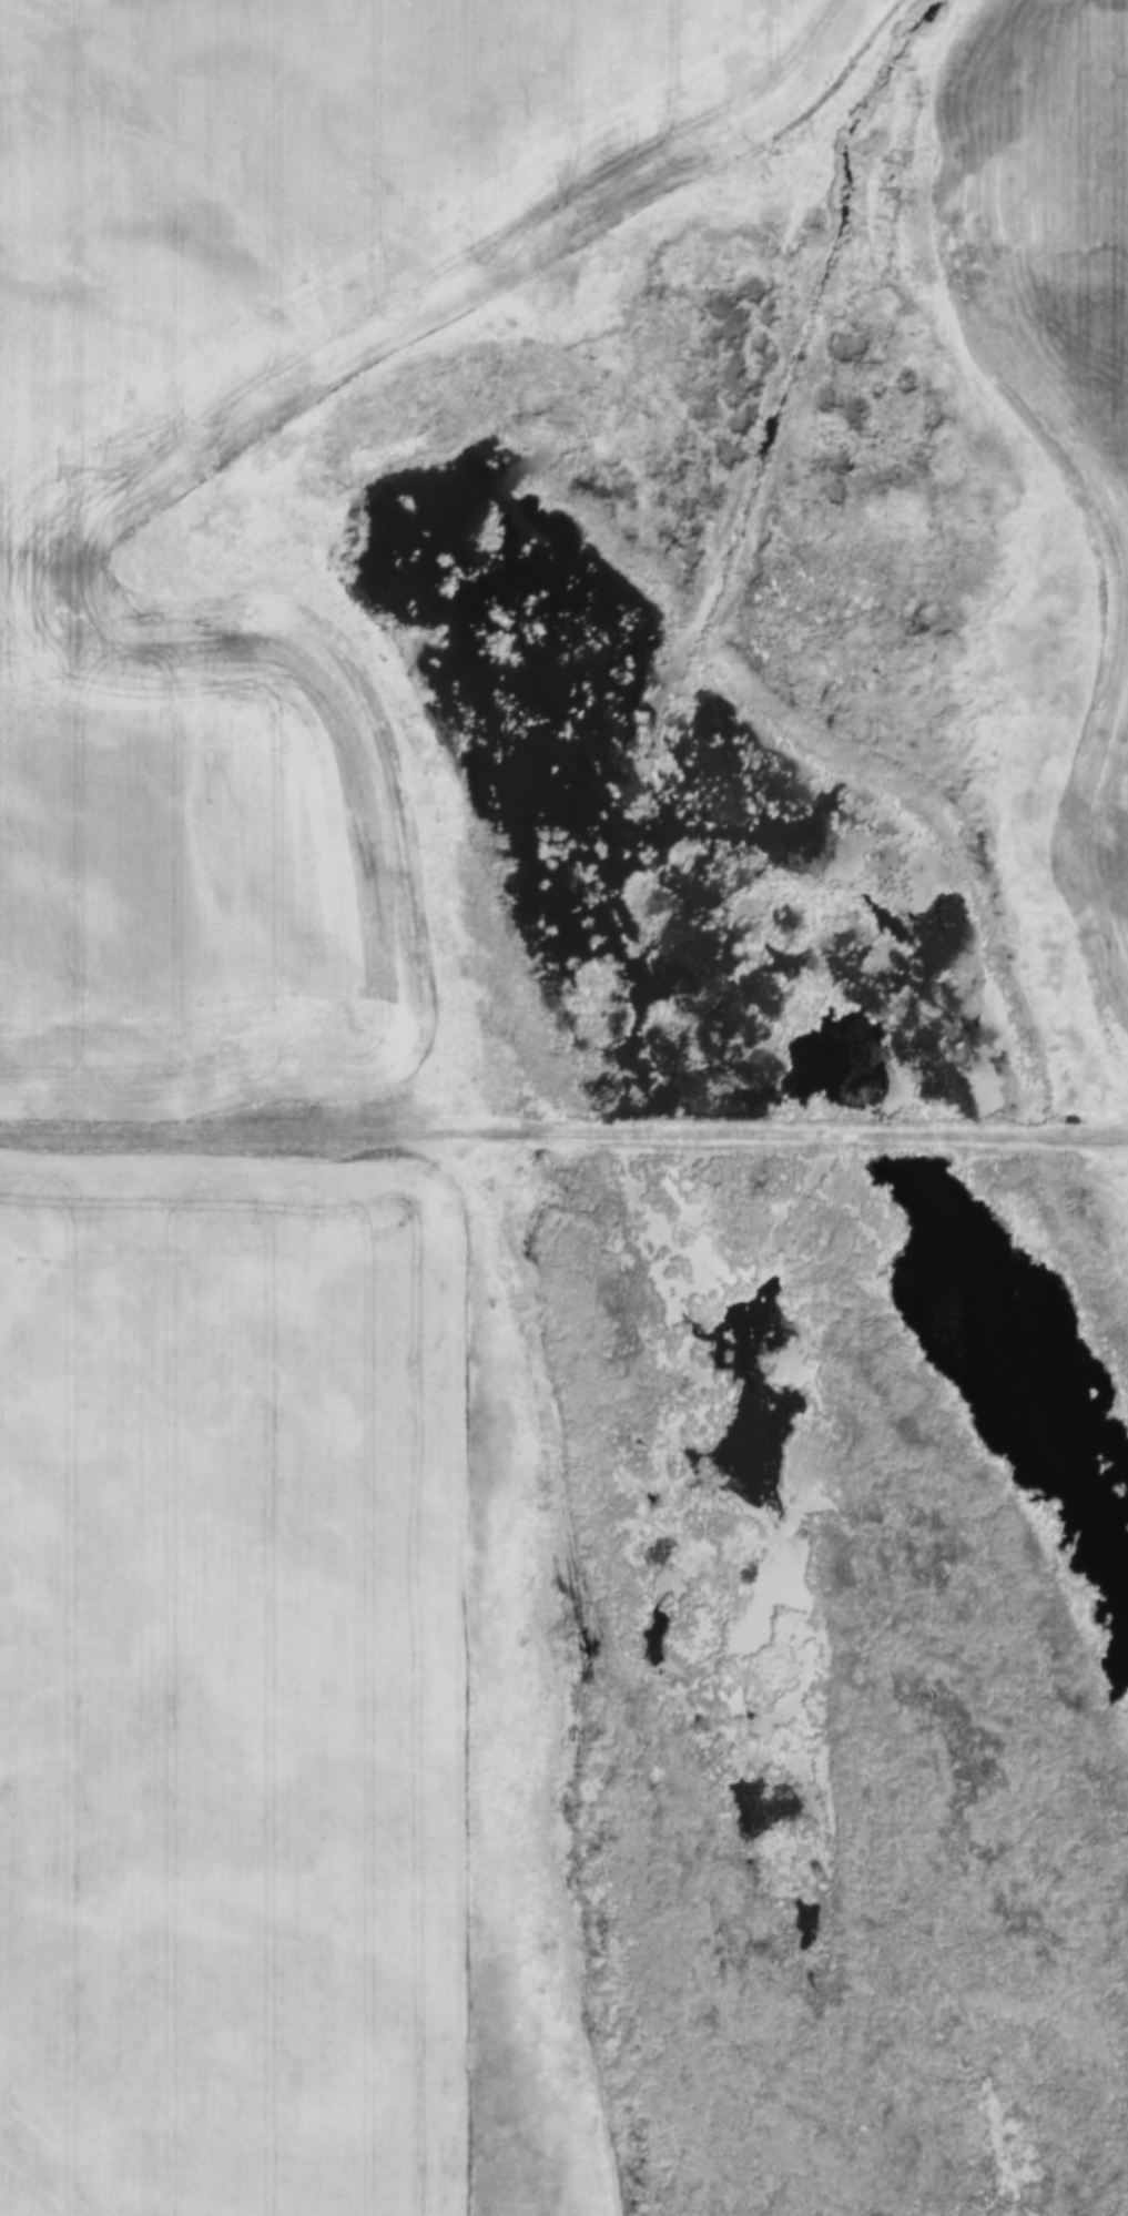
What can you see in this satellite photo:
road: (563, 1129)

